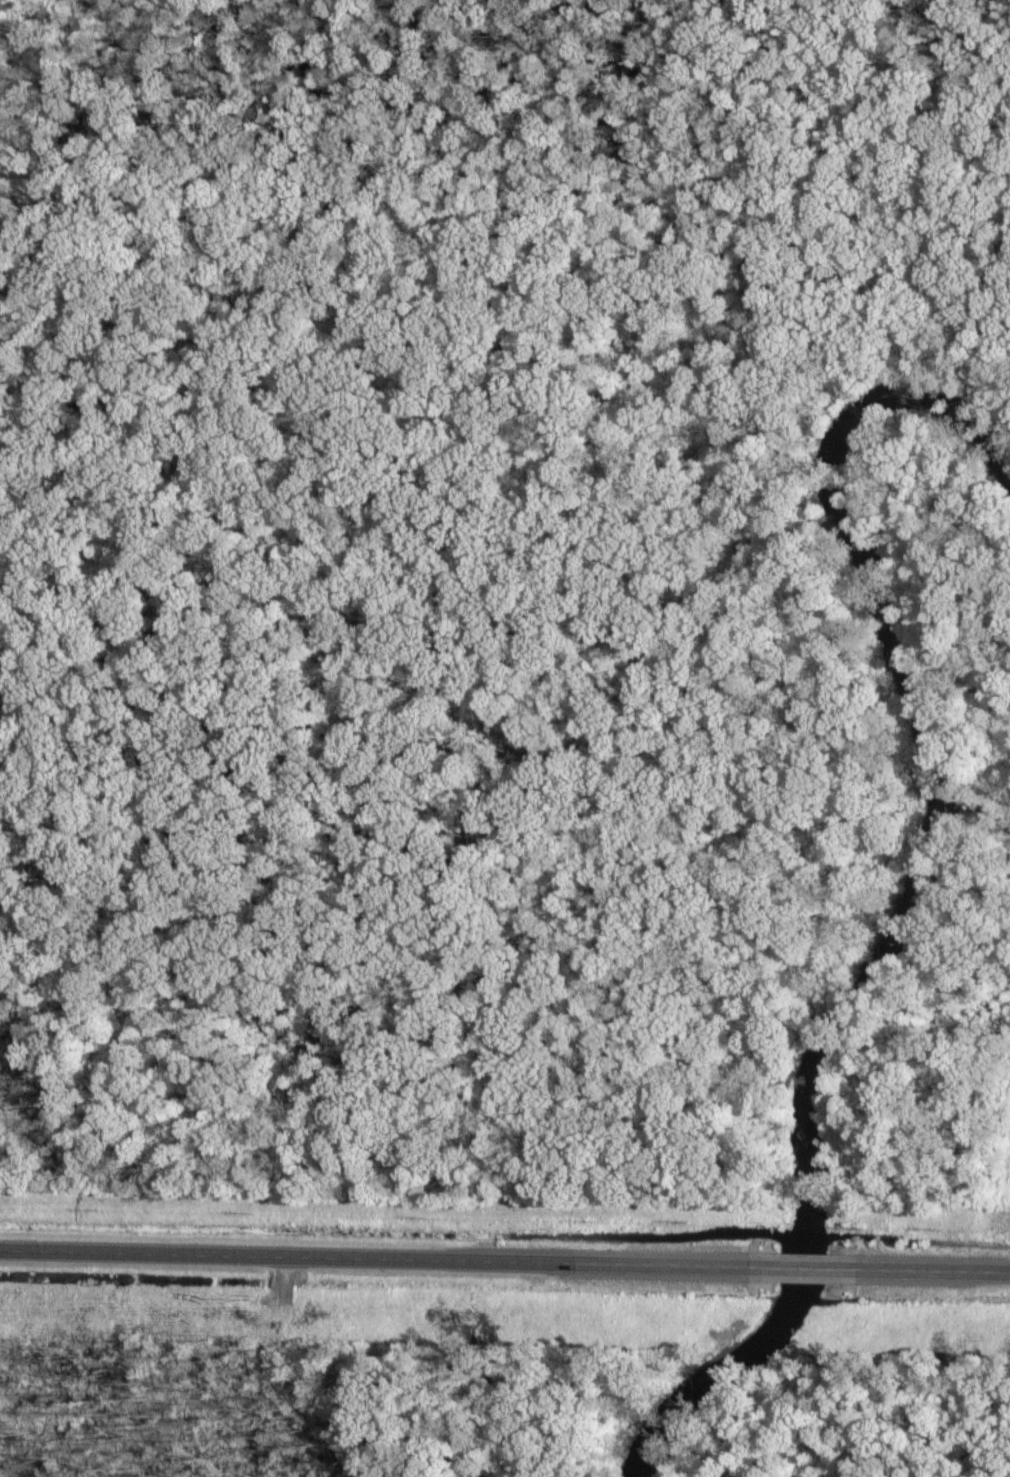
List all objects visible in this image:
road: (505, 1256)

